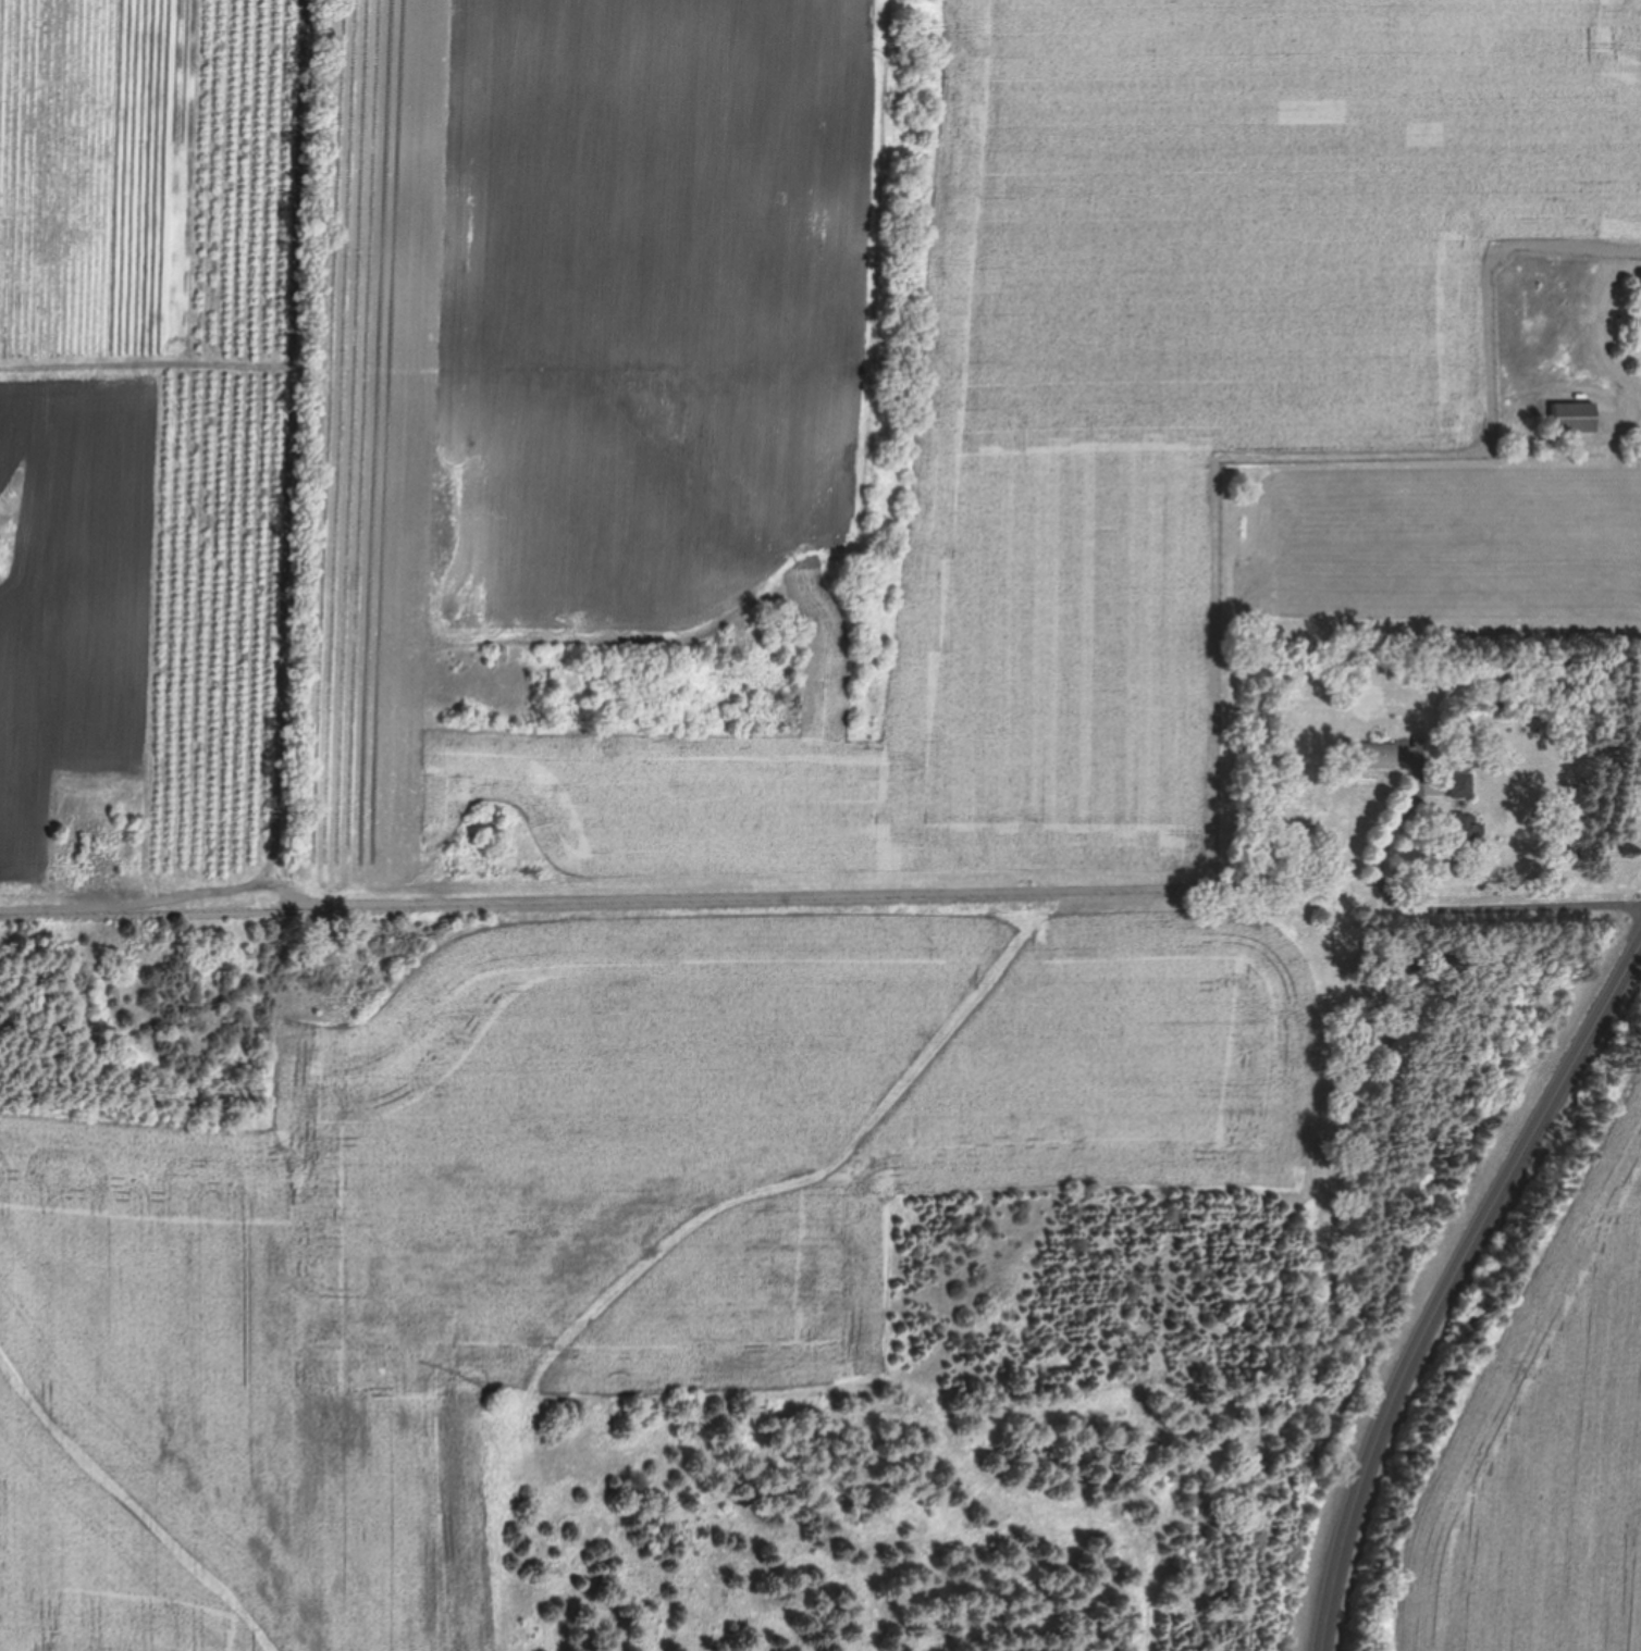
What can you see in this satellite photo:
building: (1574, 417)
building: (1370, 754)
building: (1459, 785)
building: (1461, 830)
road: (1452, 913)
road: (1452, 1284)
park: (1520, 1406)

